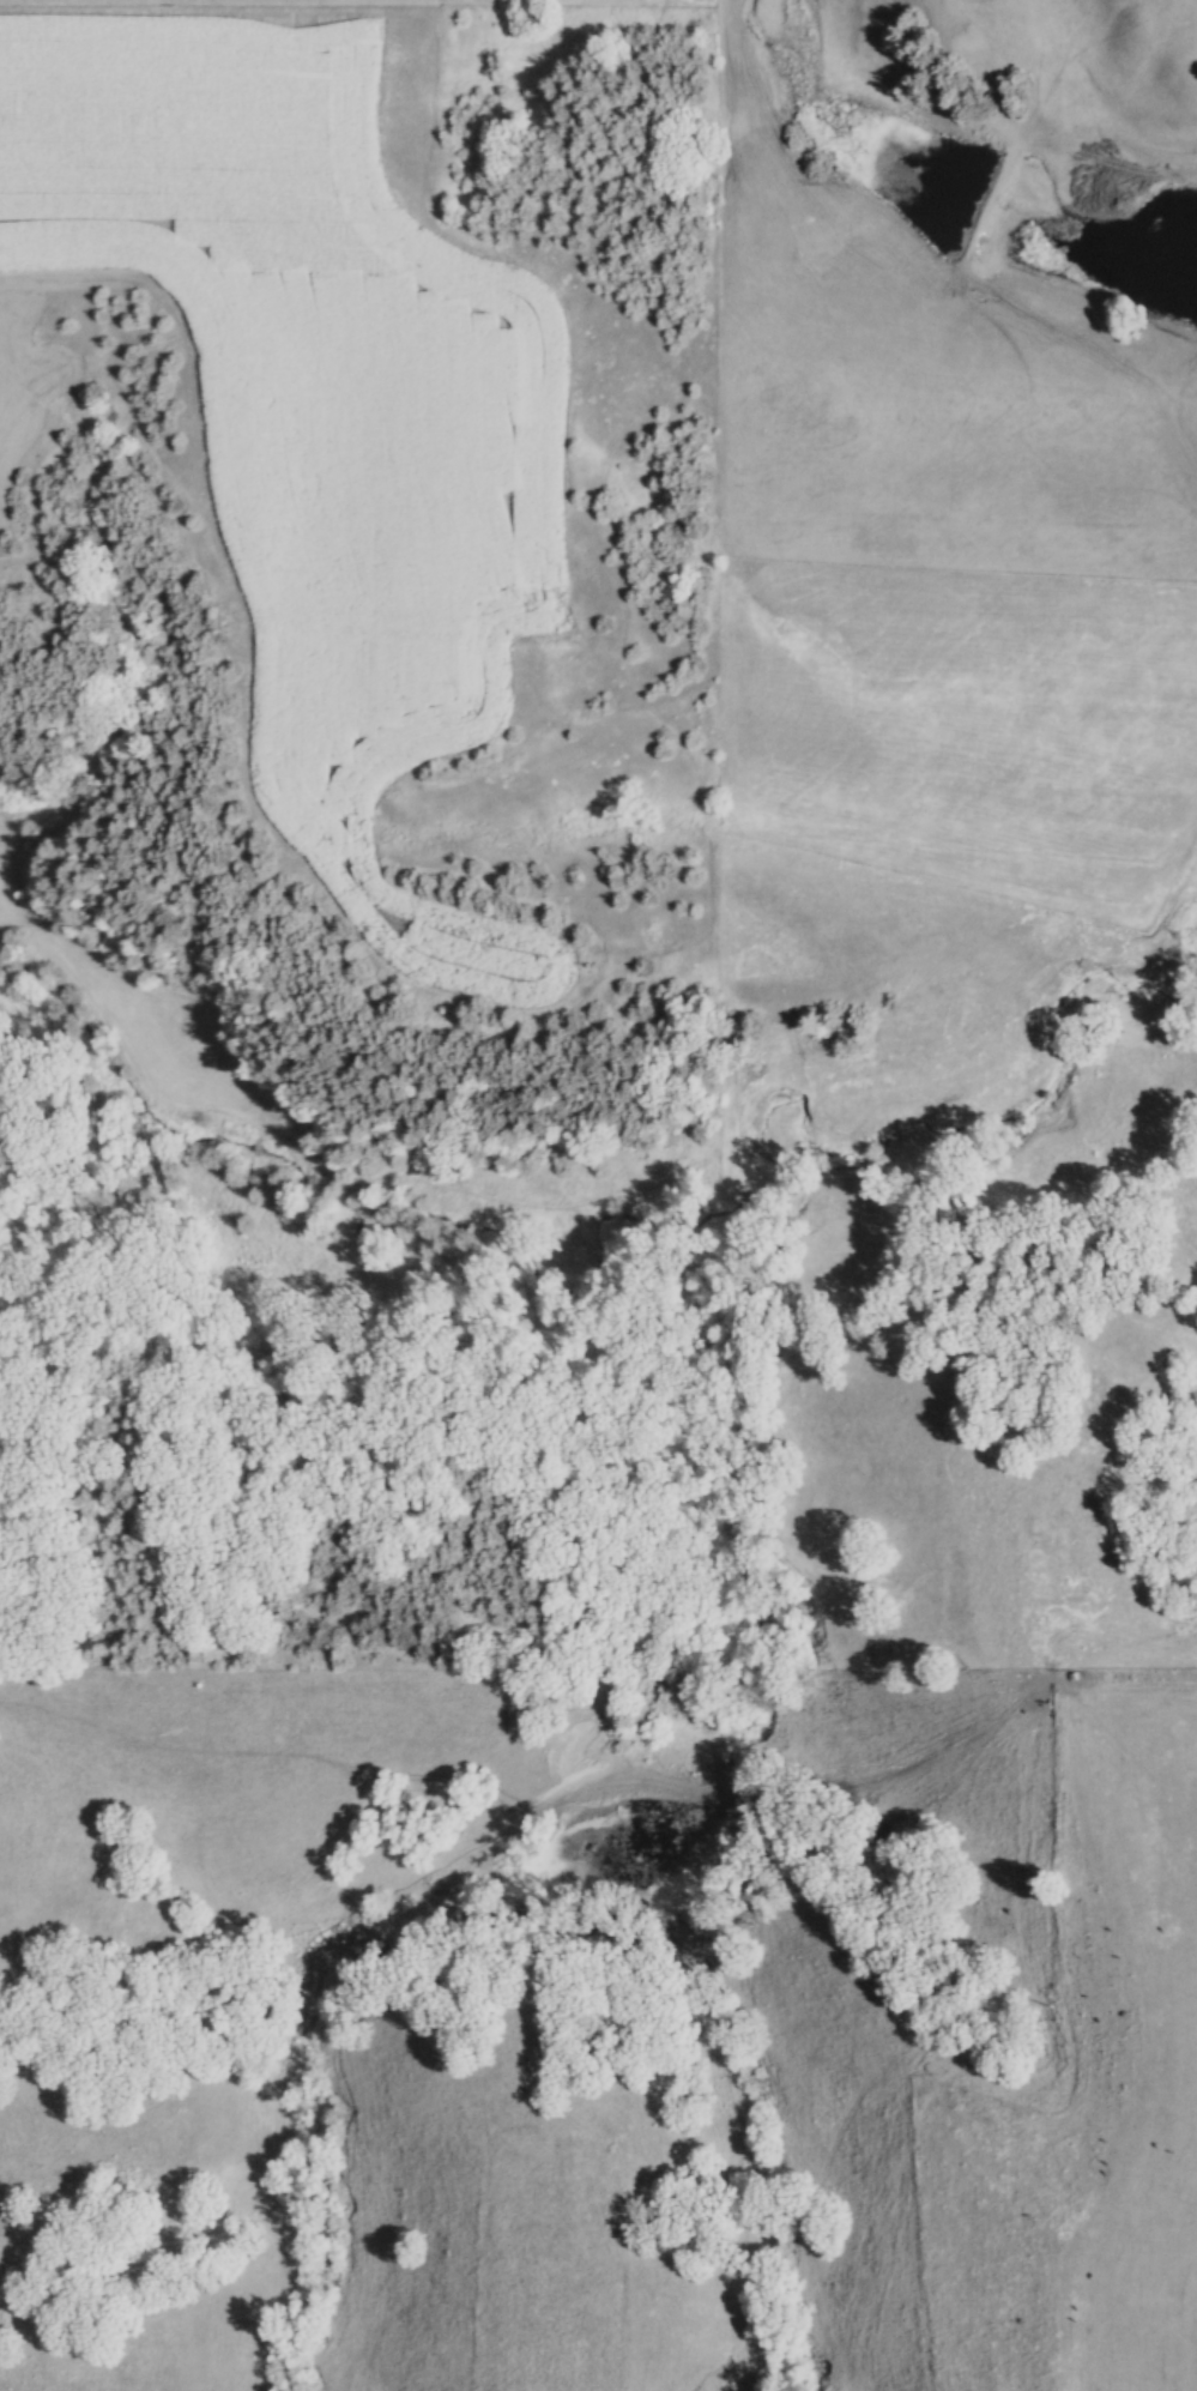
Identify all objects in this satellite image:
crop: (301, 312)

